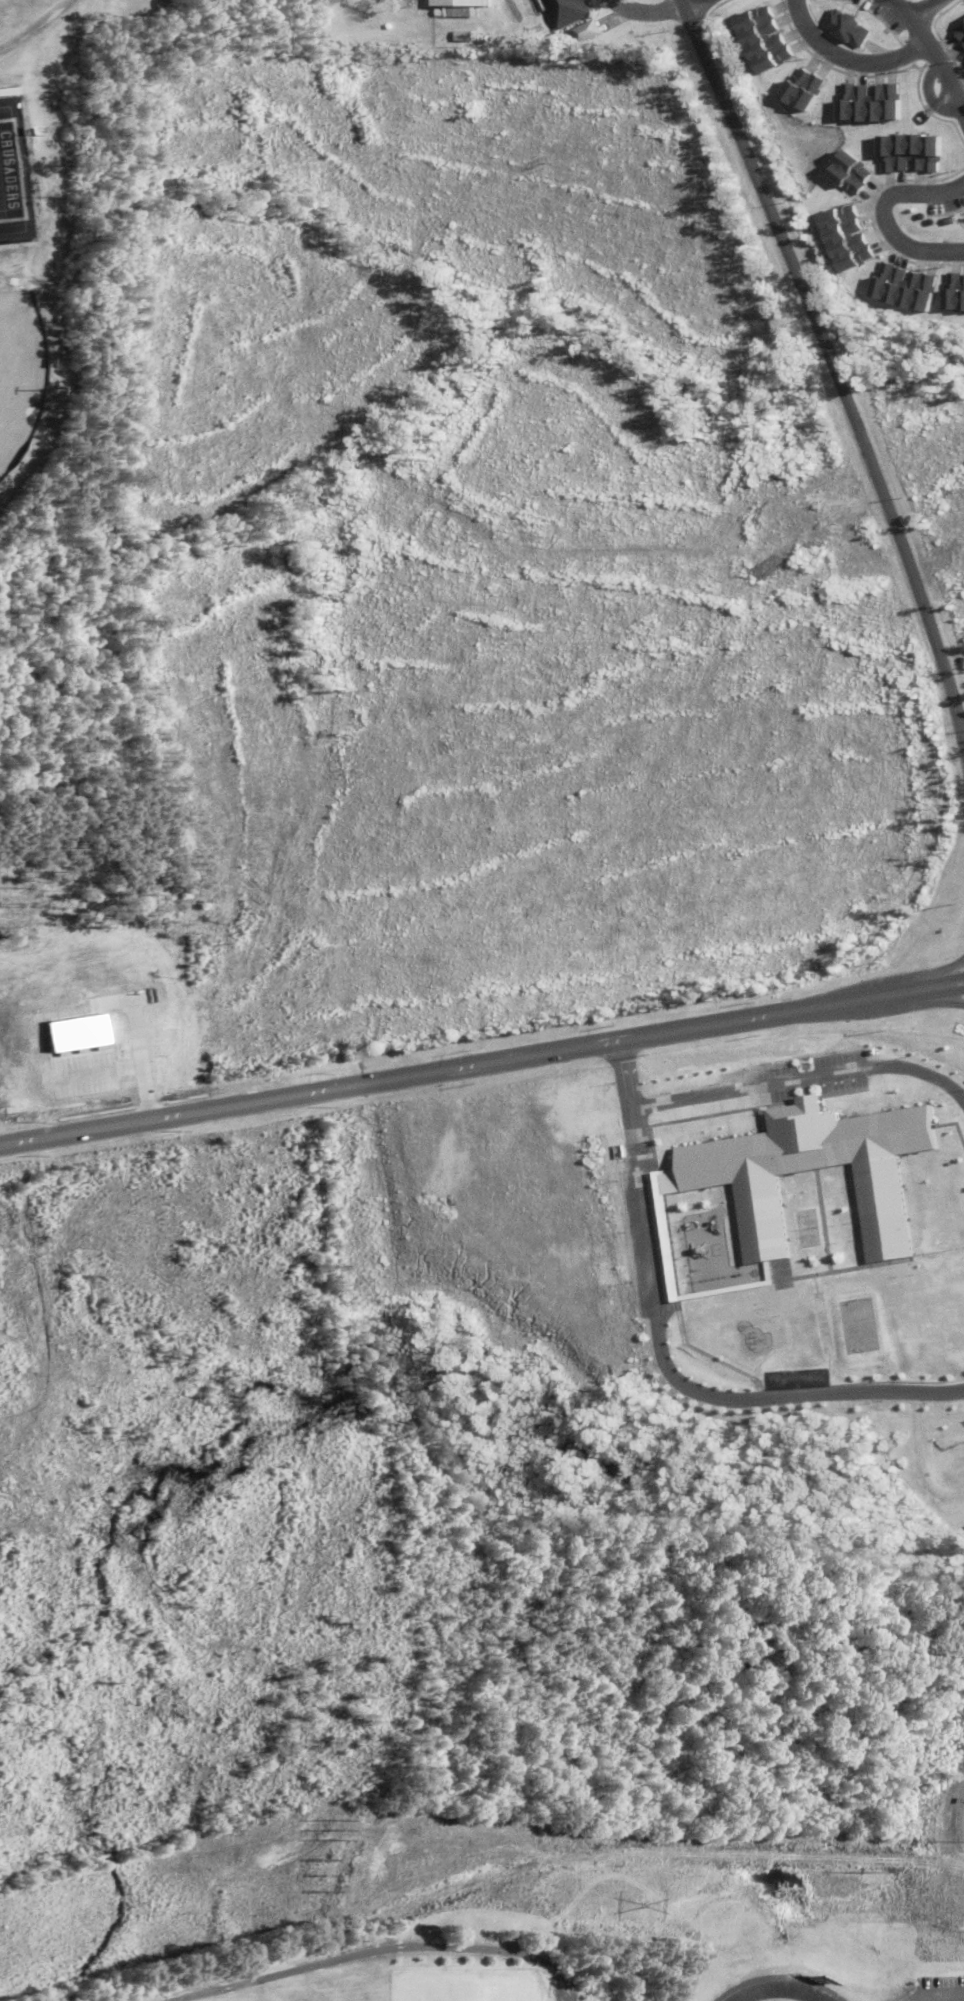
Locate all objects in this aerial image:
building: (459, 3)
road: (693, 6)
road: (917, 10)
building: (565, 12)
road: (643, 12)
road: (33, 26)
building: (585, 32)
road: (928, 58)
road: (841, 59)
park: (7, 171)
road: (878, 215)
park: (15, 363)
road: (828, 371)
road: (933, 980)
road: (935, 997)
road: (481, 1064)
flagpole: (805, 1065)
road: (765, 1086)
power tower: (325, 1876)
power tower: (644, 1905)
road: (367, 1954)
park: (400, 1967)
road: (562, 1988)
park: (460, 1991)
track: (775, 1992)
road: (934, 1992)

